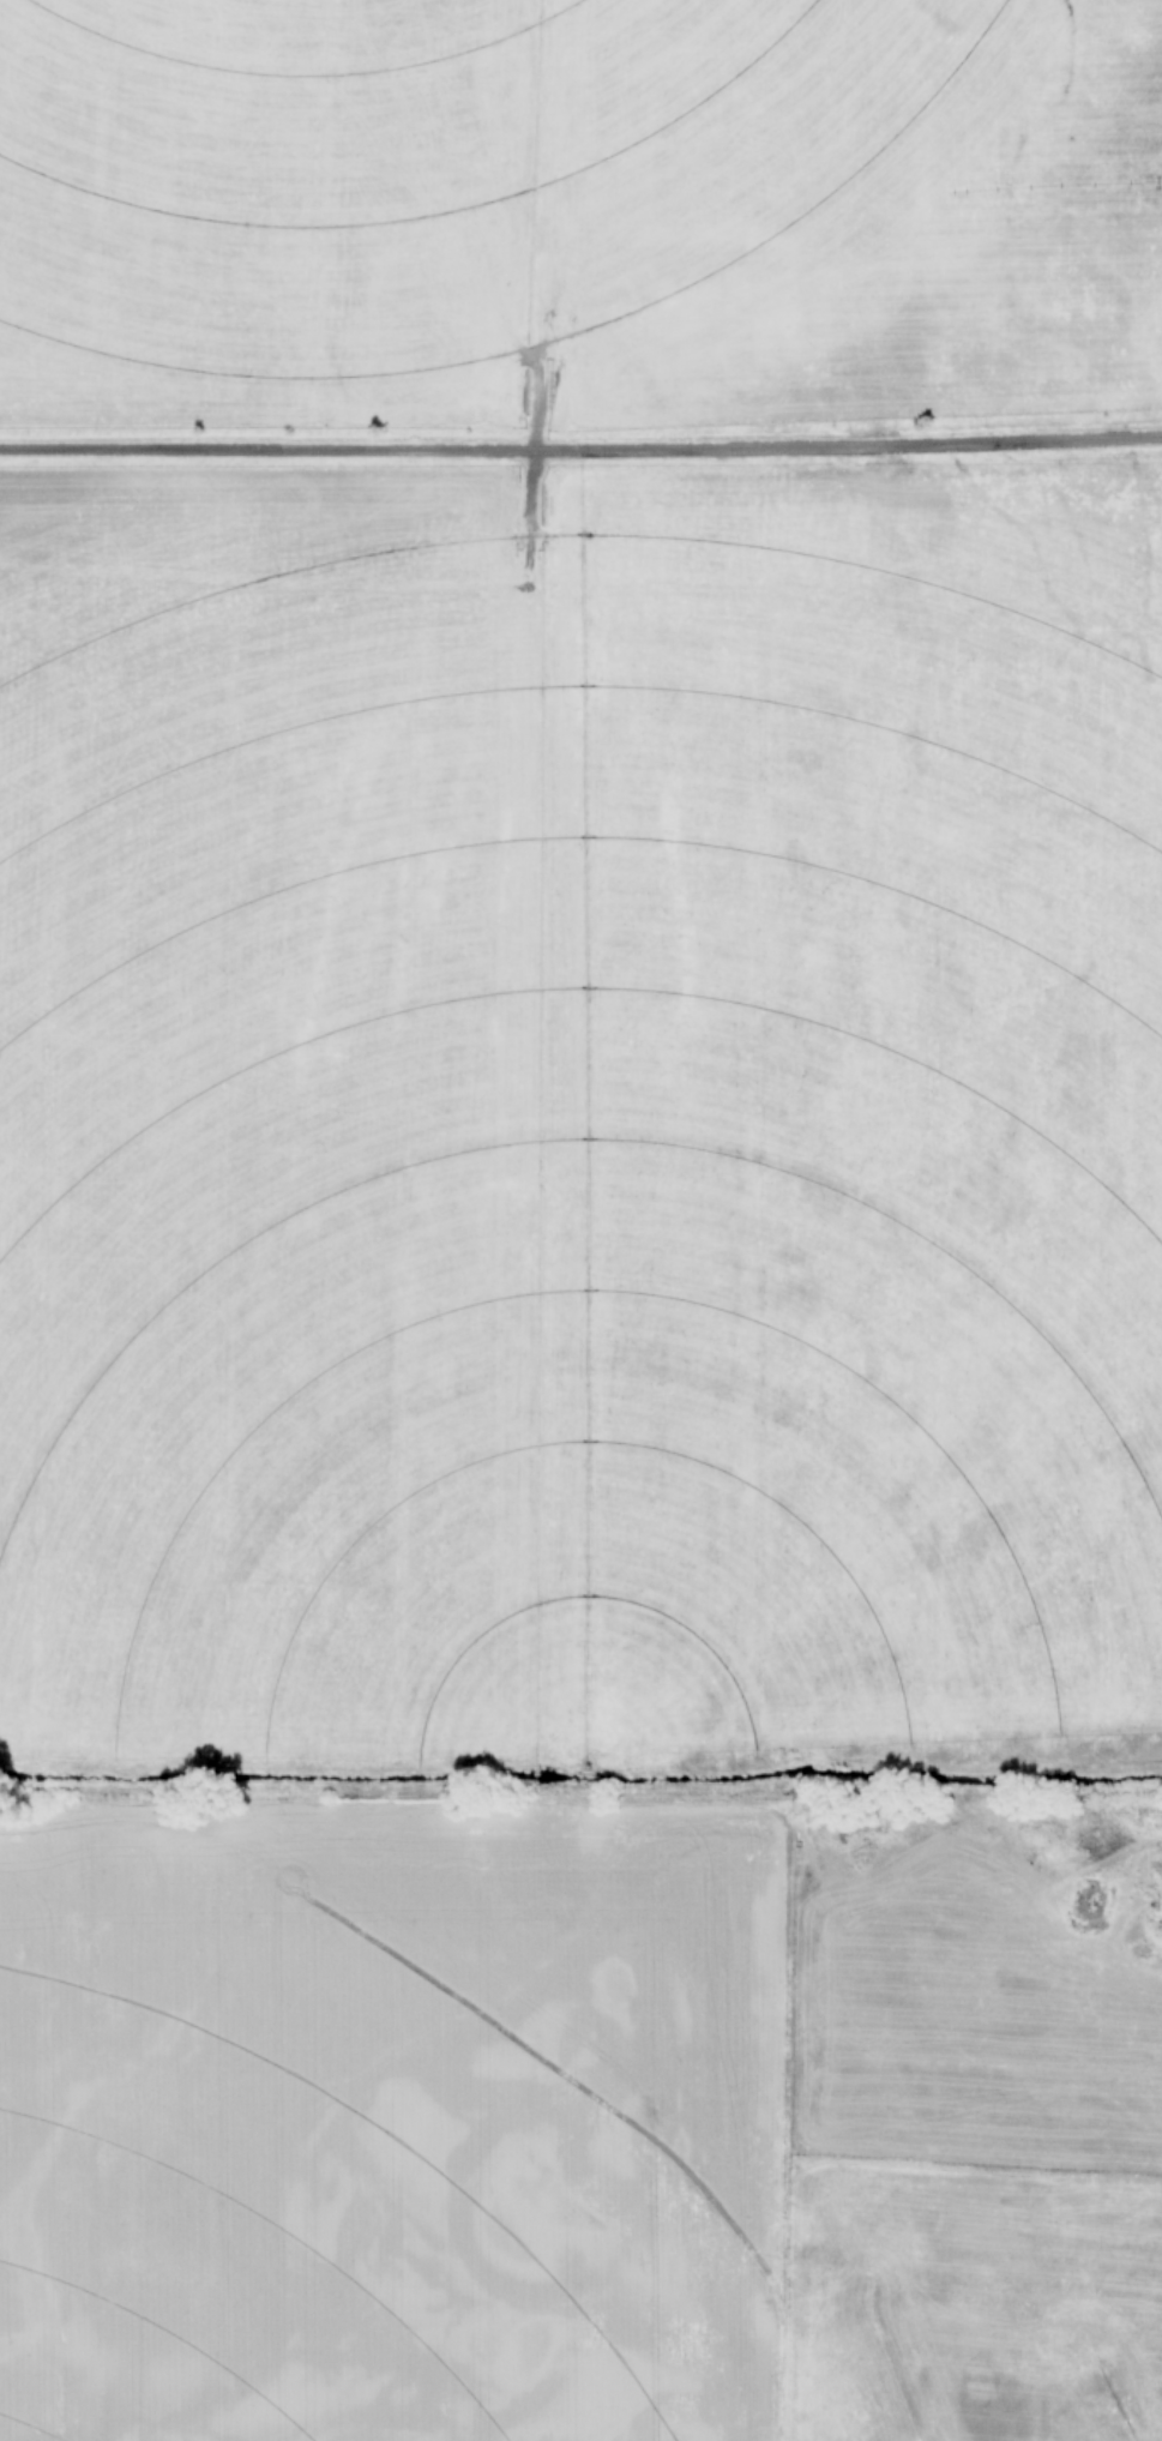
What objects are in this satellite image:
road: (580, 449)
road: (1113, 1917)

